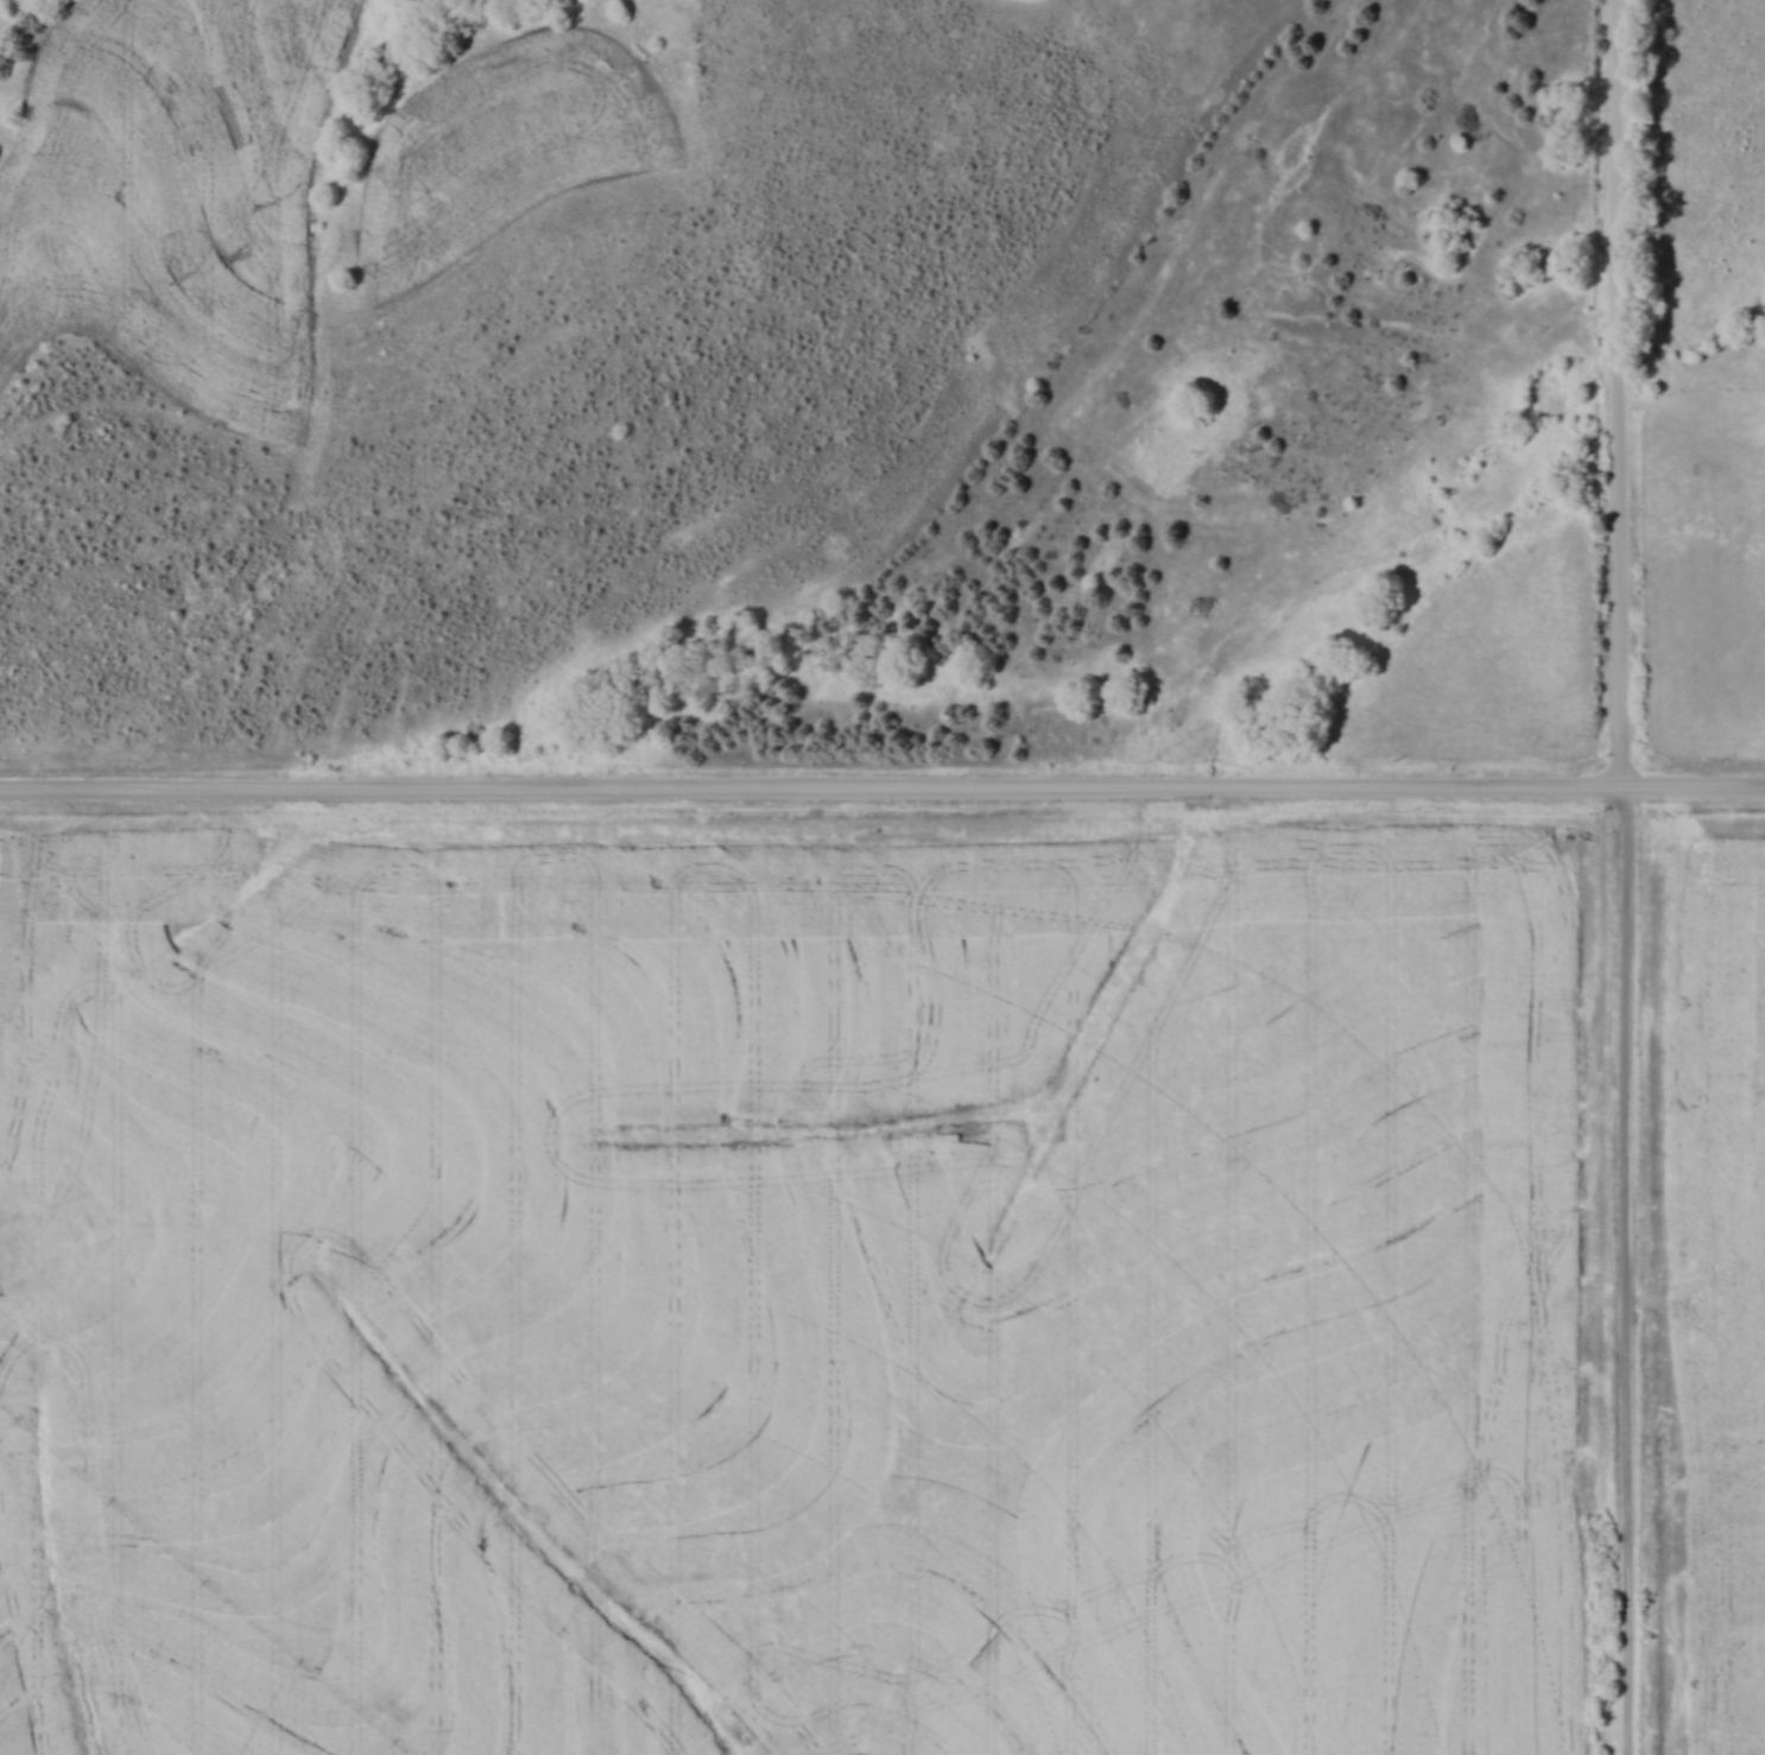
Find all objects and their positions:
road: (883, 790)
road: (1628, 876)

